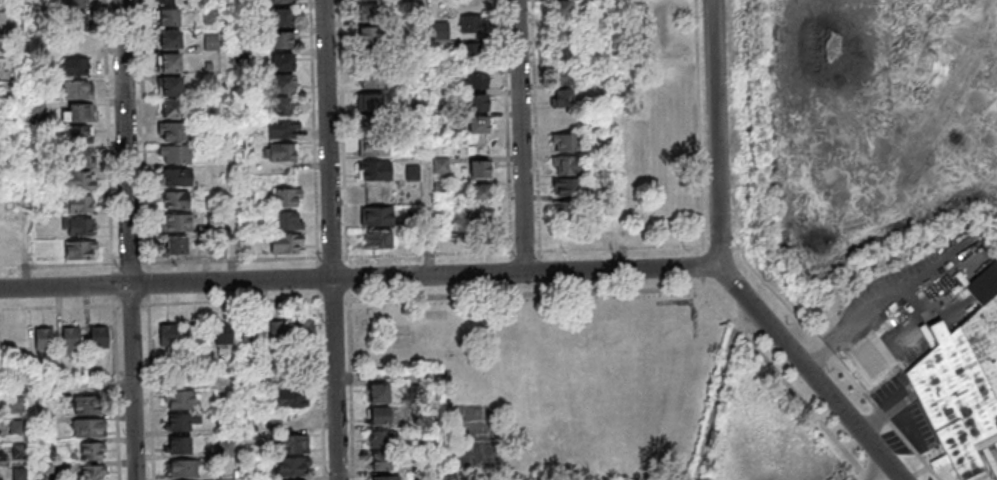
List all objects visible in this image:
building: (167, 1)
building: (280, 1)
building: (75, 3)
building: (560, 9)
building: (600, 10)
building: (369, 12)
building: (166, 17)
building: (282, 17)
building: (76, 21)
building: (471, 23)
building: (560, 32)
building: (367, 35)
building: (169, 39)
building: (282, 39)
building: (211, 42)
building: (471, 51)
building: (561, 60)
building: (169, 62)
building: (283, 62)
building: (77, 67)
building: (371, 78)
building: (477, 80)
building: (169, 85)
building: (77, 89)
building: (561, 98)
building: (369, 101)
building: (479, 102)
building: (281, 107)
building: (170, 108)
building: (36, 109)
building: (77, 113)
building: (373, 124)
building: (479, 124)
building: (282, 128)
building: (173, 131)
road: (714, 131)
road: (109, 132)
road: (619, 133)
building: (75, 134)
road: (519, 136)
road: (426, 138)
road: (229, 141)
building: (566, 142)
road: (21, 144)
building: (373, 147)
building: (280, 151)
building: (174, 153)
building: (79, 158)
building: (440, 165)
building: (566, 165)
building: (479, 168)
building: (373, 170)
building: (176, 177)
building: (78, 180)
building: (567, 187)
building: (480, 192)
building: (286, 197)
building: (176, 199)
building: (78, 203)
building: (565, 210)
building: (480, 214)
building: (376, 215)
building: (286, 220)
building: (176, 222)
building: (78, 226)
building: (378, 238)
road: (127, 240)
road: (333, 240)
building: (286, 243)
building: (175, 245)
building: (80, 249)
road: (336, 257)
road: (234, 260)
road: (132, 263)
road: (56, 265)
road: (358, 278)
building: (980, 282)
road: (149, 284)
road: (234, 302)
road: (74, 307)
building: (276, 329)
building: (304, 330)
building: (936, 330)
building: (250, 333)
building: (223, 334)
building: (167, 335)
building: (197, 335)
building: (99, 338)
building: (44, 339)
building: (70, 340)
road: (807, 371)
road: (168, 380)
road: (430, 380)
park: (561, 381)
building: (961, 385)
road: (322, 389)
road: (152, 392)
road: (117, 393)
building: (378, 394)
building: (290, 397)
building: (180, 401)
building: (87, 405)
building: (379, 417)
building: (177, 423)
building: (89, 427)
road: (235, 429)
road: (30, 432)
building: (381, 440)
building: (298, 443)
building: (178, 445)
building: (92, 451)
building: (3, 458)
building: (381, 462)
building: (295, 466)
building: (181, 468)
building: (94, 472)
building: (19, 473)
building: (387, 478)

